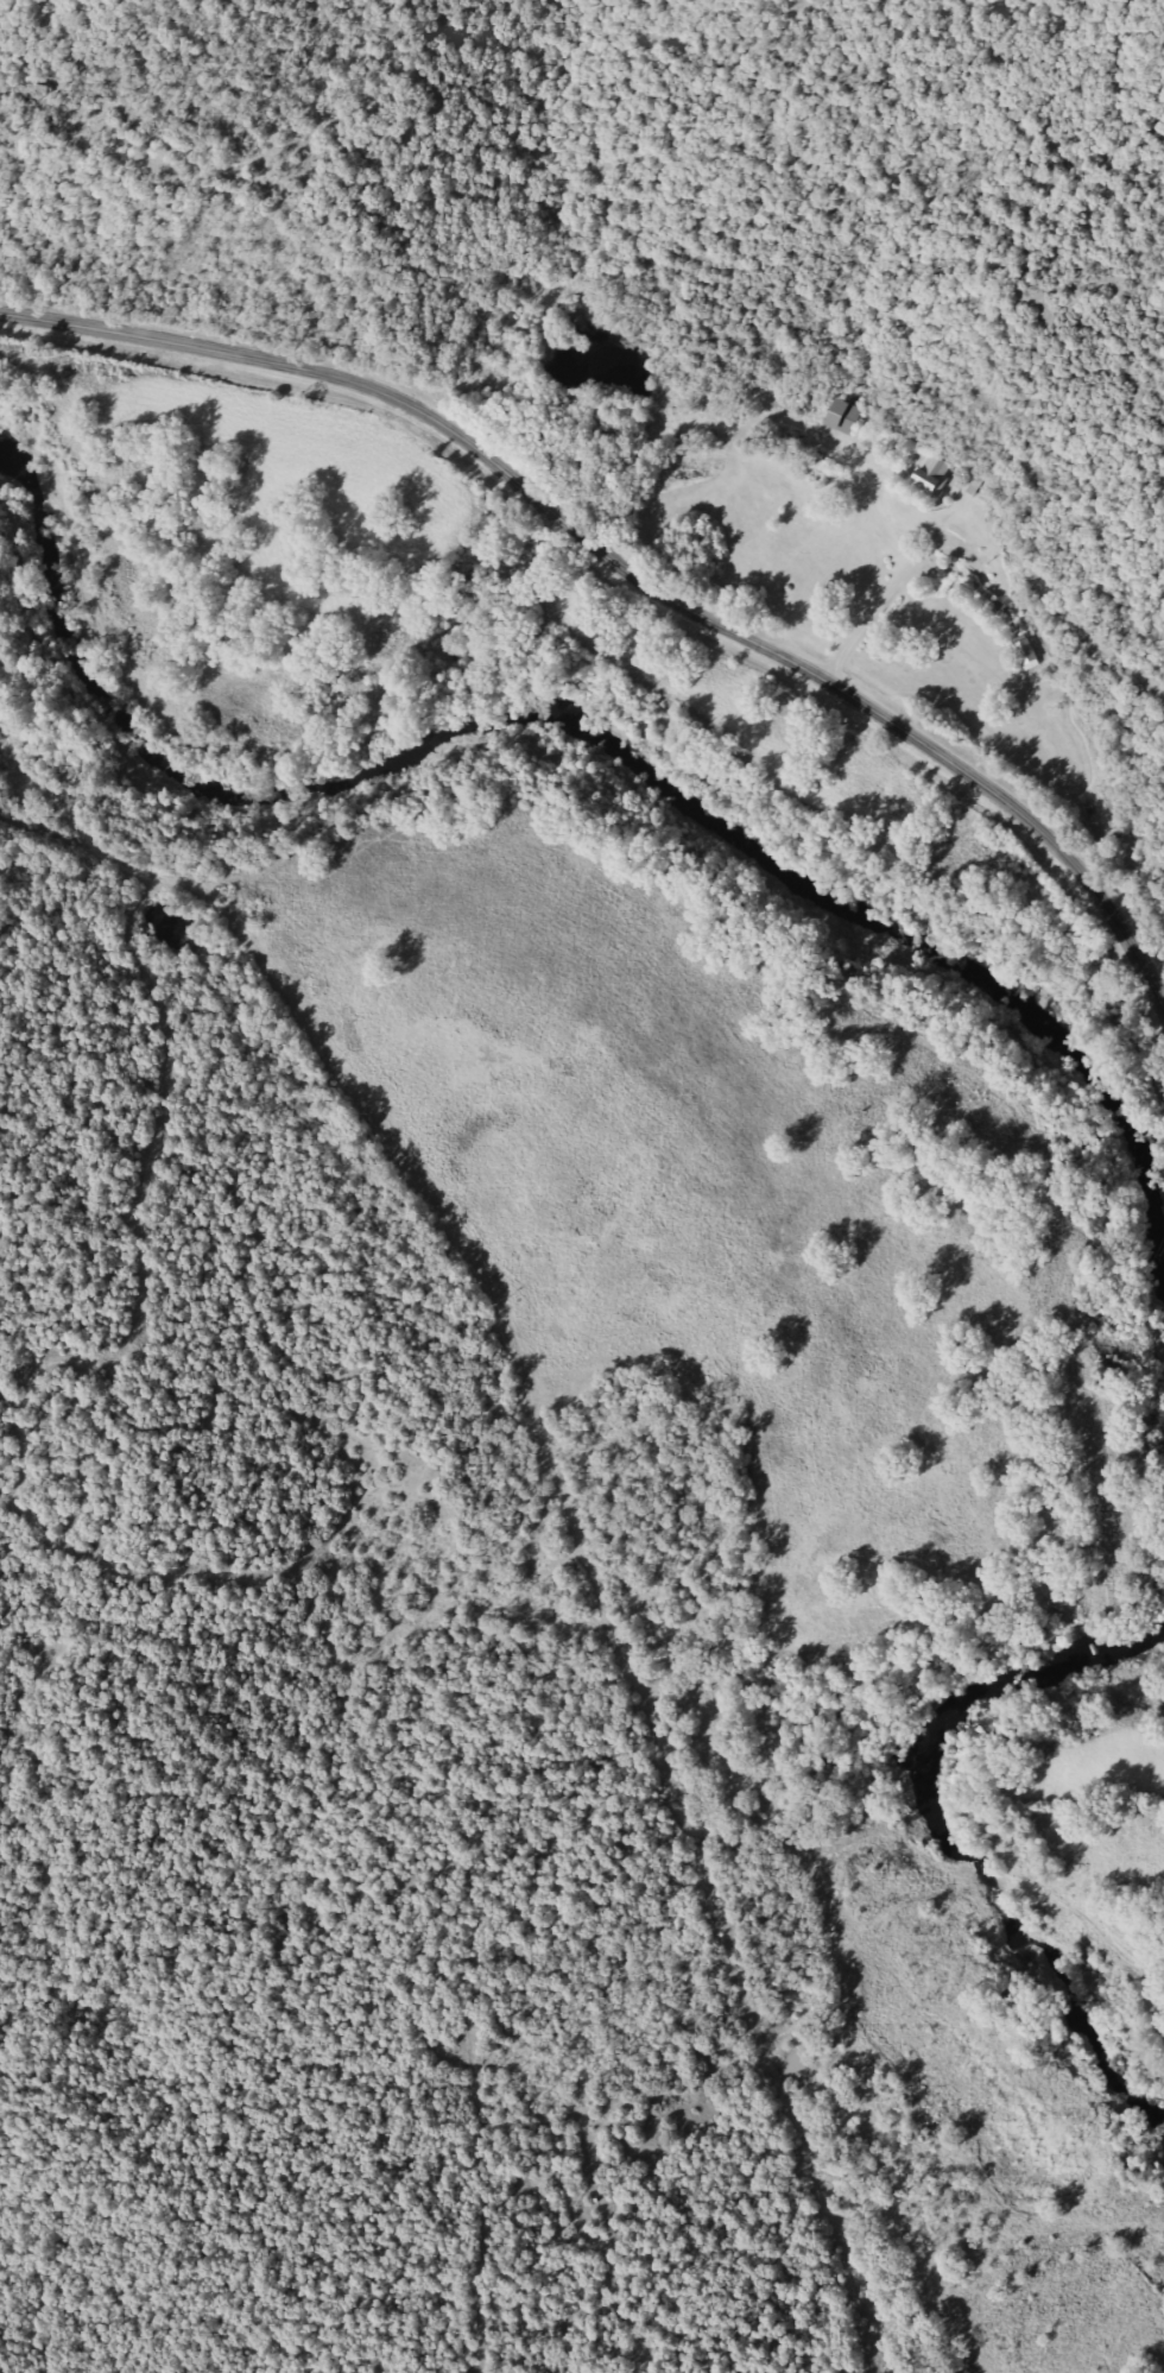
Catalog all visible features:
building: (846, 419)
building: (926, 475)
road: (627, 578)
road: (881, 598)
building: (1021, 652)
road: (597, 1501)

